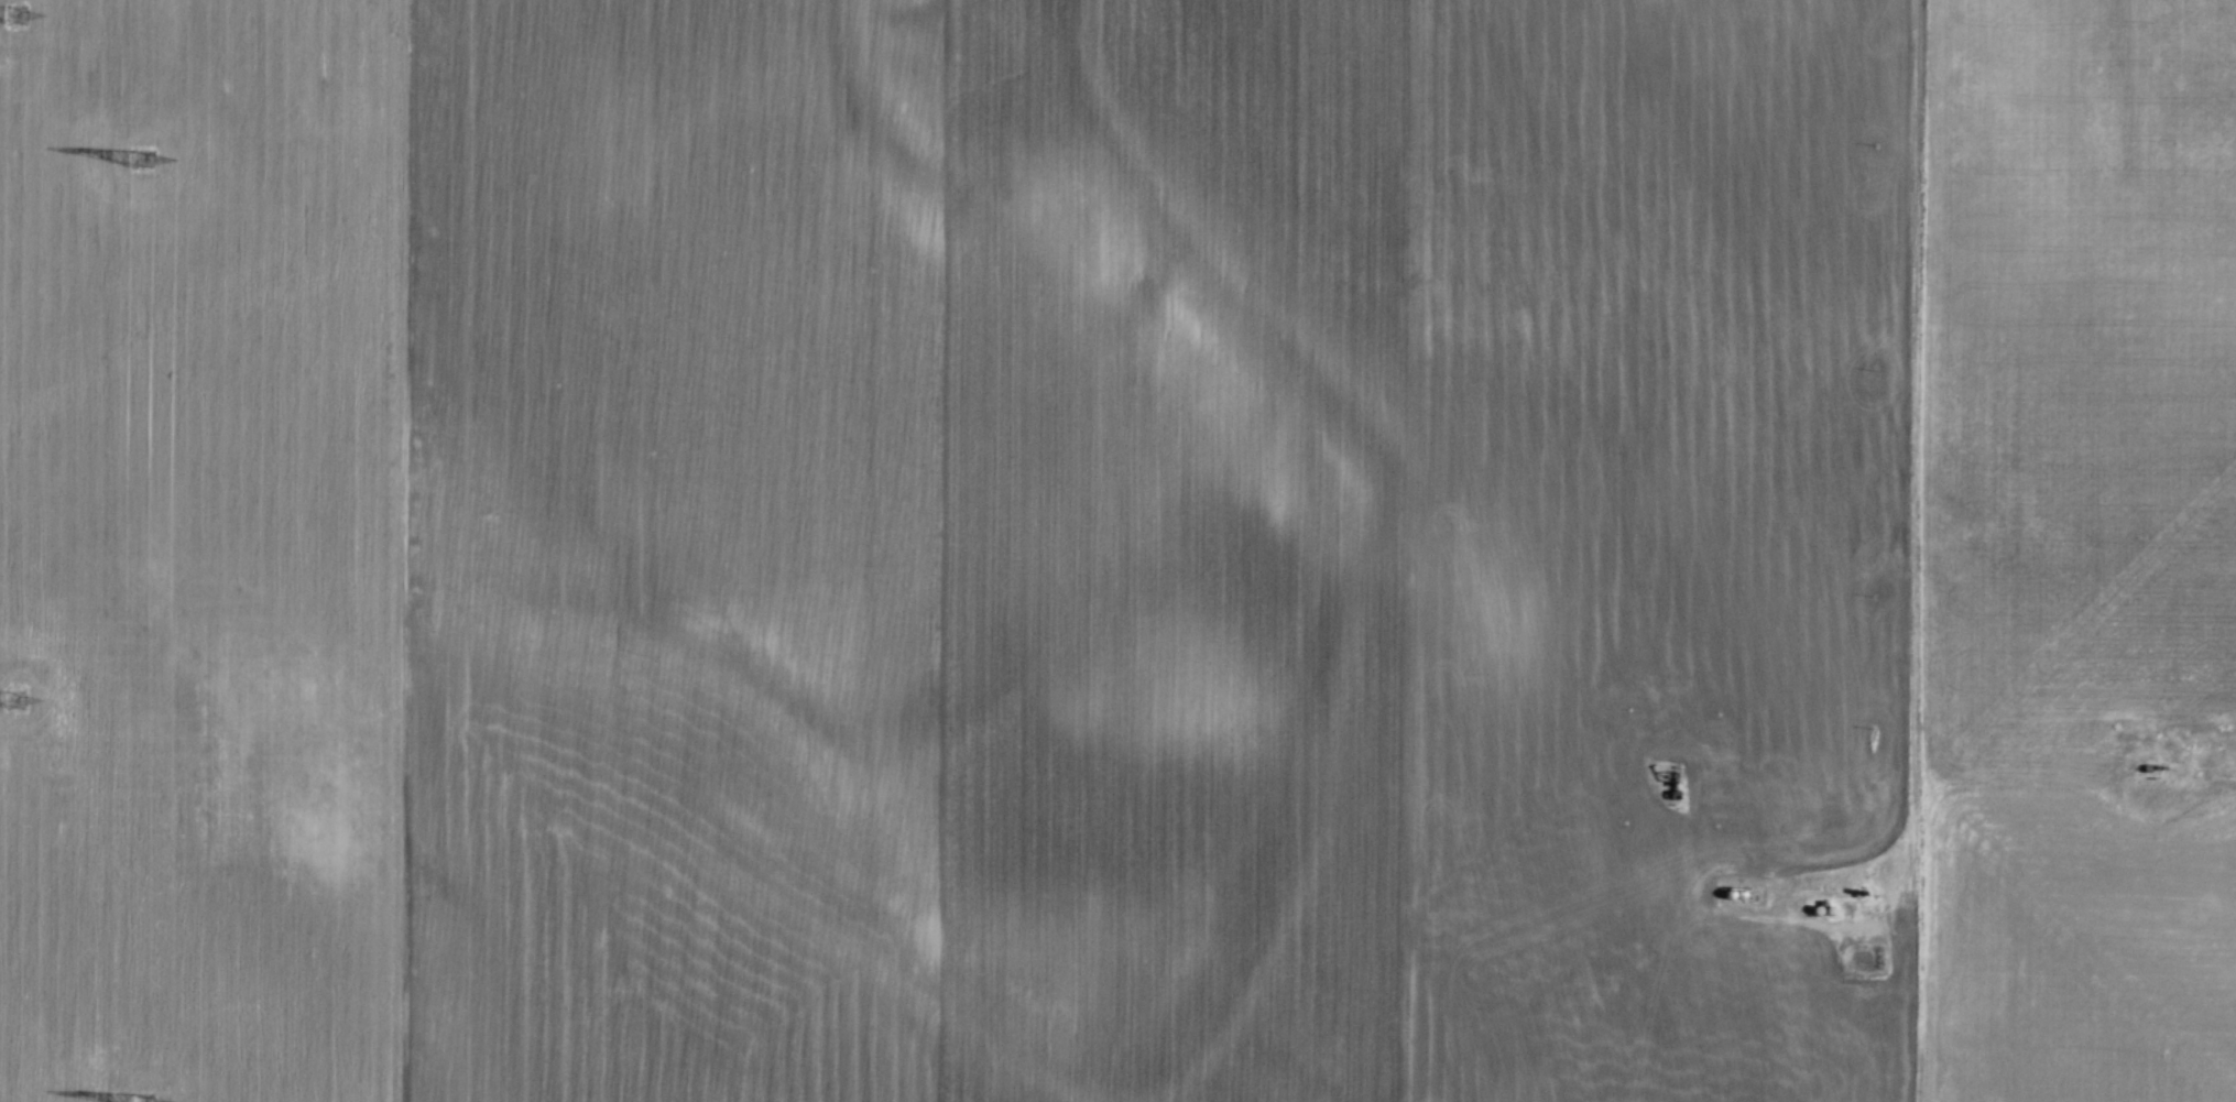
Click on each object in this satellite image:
power tower: (3, 9)
power tower: (139, 161)
road: (1917, 501)
crop: (1094, 544)
power tower: (0, 698)
power tower: (141, 1101)

